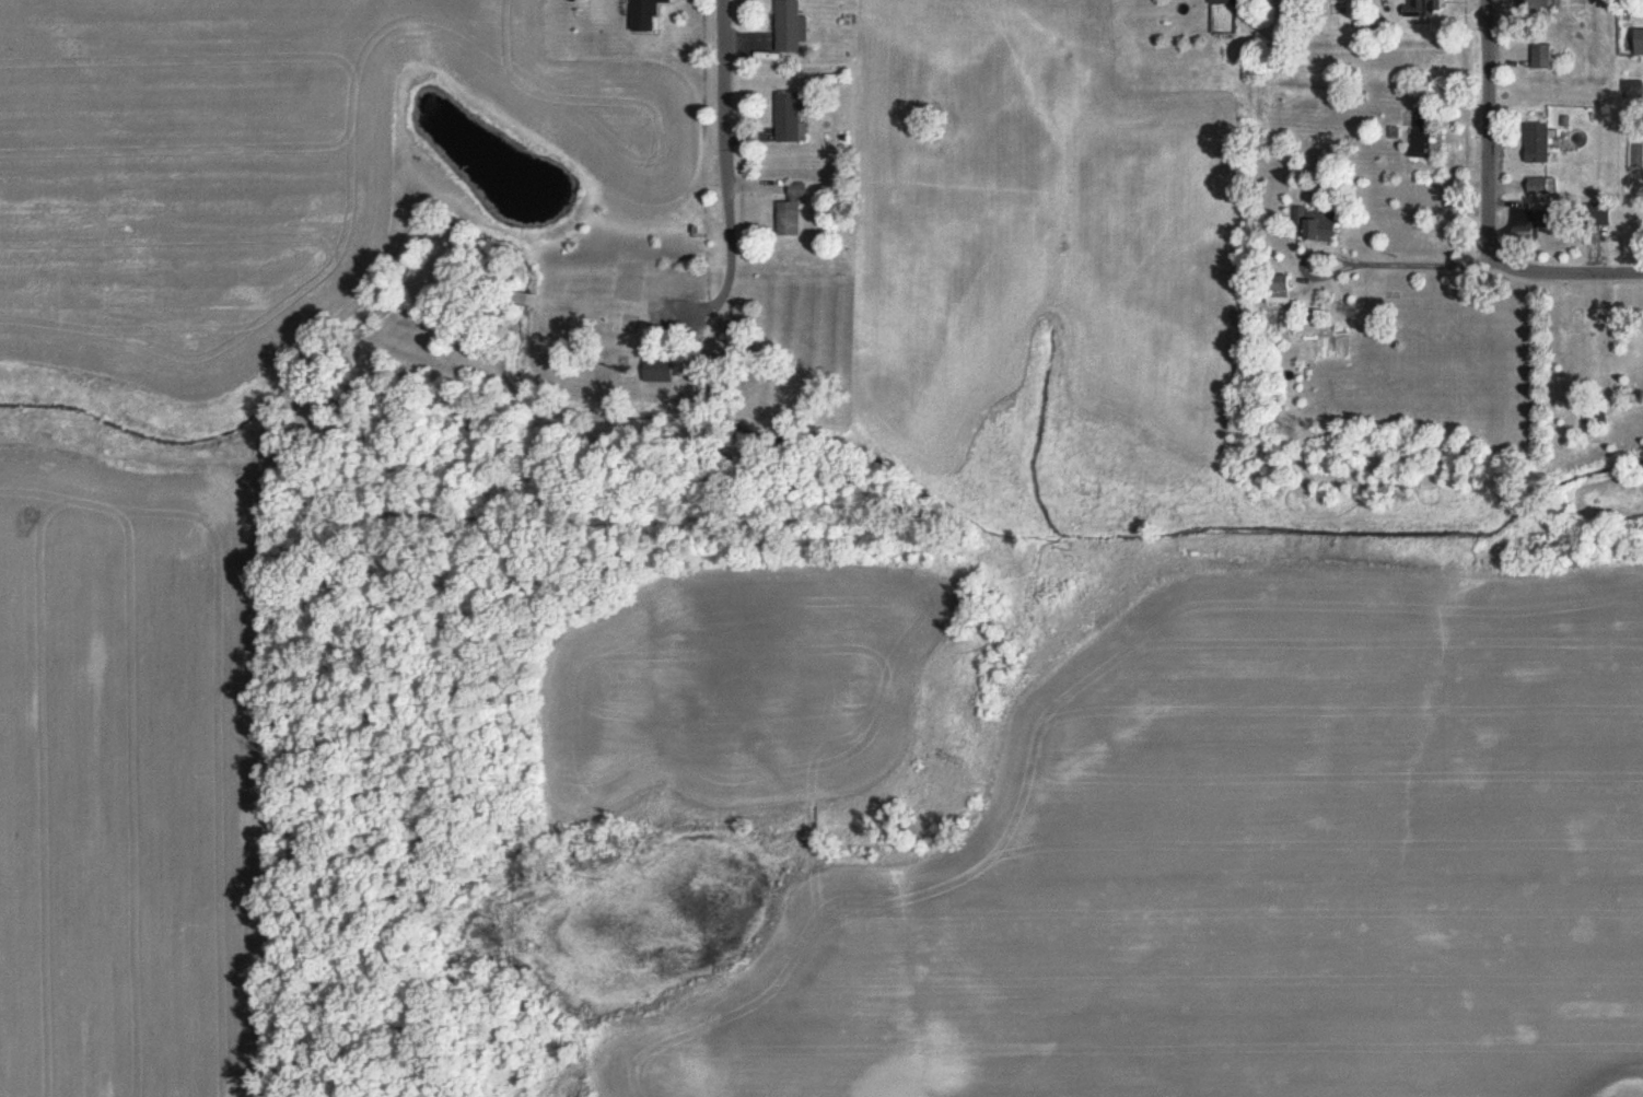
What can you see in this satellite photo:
building: (1224, 1)
building: (1536, 4)
building: (1423, 8)
building: (646, 14)
building: (791, 26)
building: (1640, 43)
building: (1541, 56)
building: (789, 117)
road: (1488, 121)
building: (1422, 133)
road: (725, 139)
building: (1538, 143)
crop: (258, 164)
building: (1542, 185)
building: (797, 191)
building: (789, 219)
building: (1531, 221)
building: (1318, 224)
road: (1490, 258)
road: (1504, 273)
building: (1279, 290)
building: (660, 370)
crop: (742, 686)
crop: (1250, 868)

